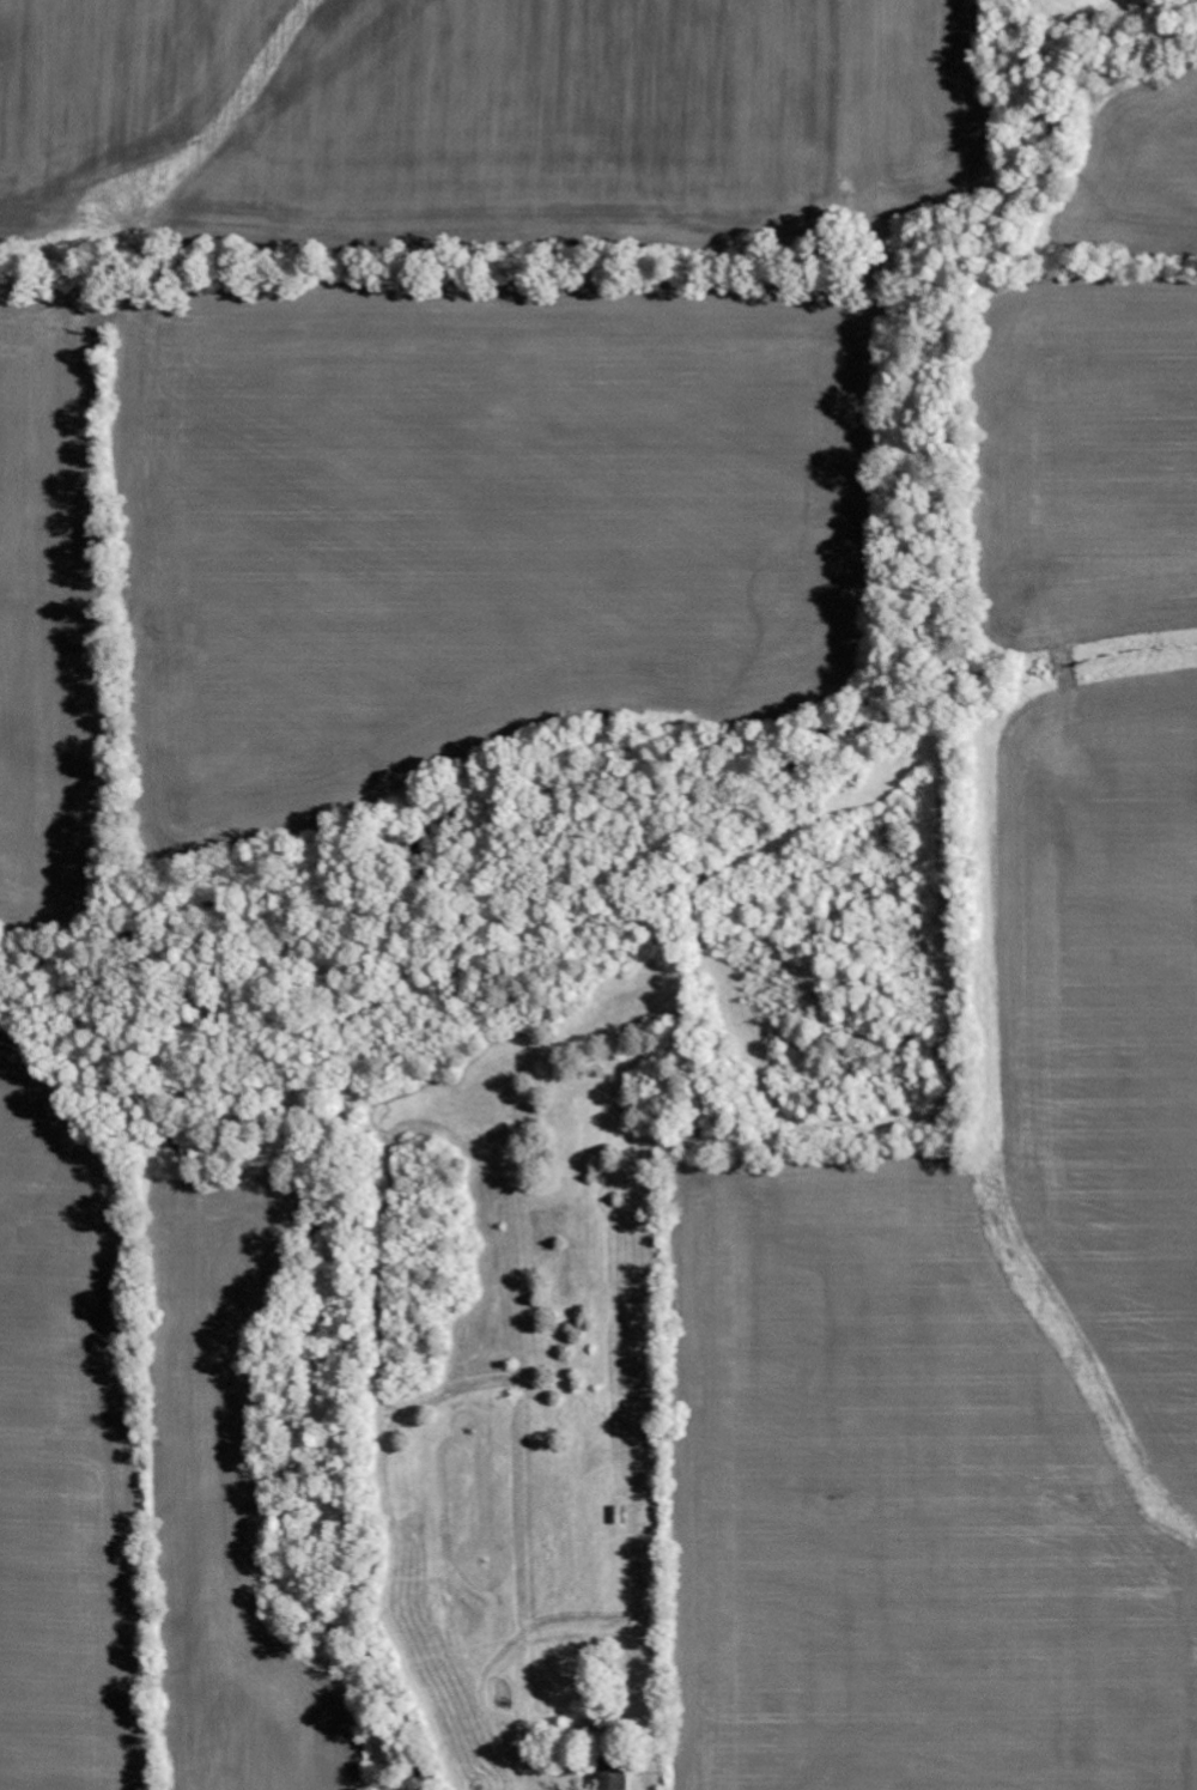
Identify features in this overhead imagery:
building: (613, 1776)

